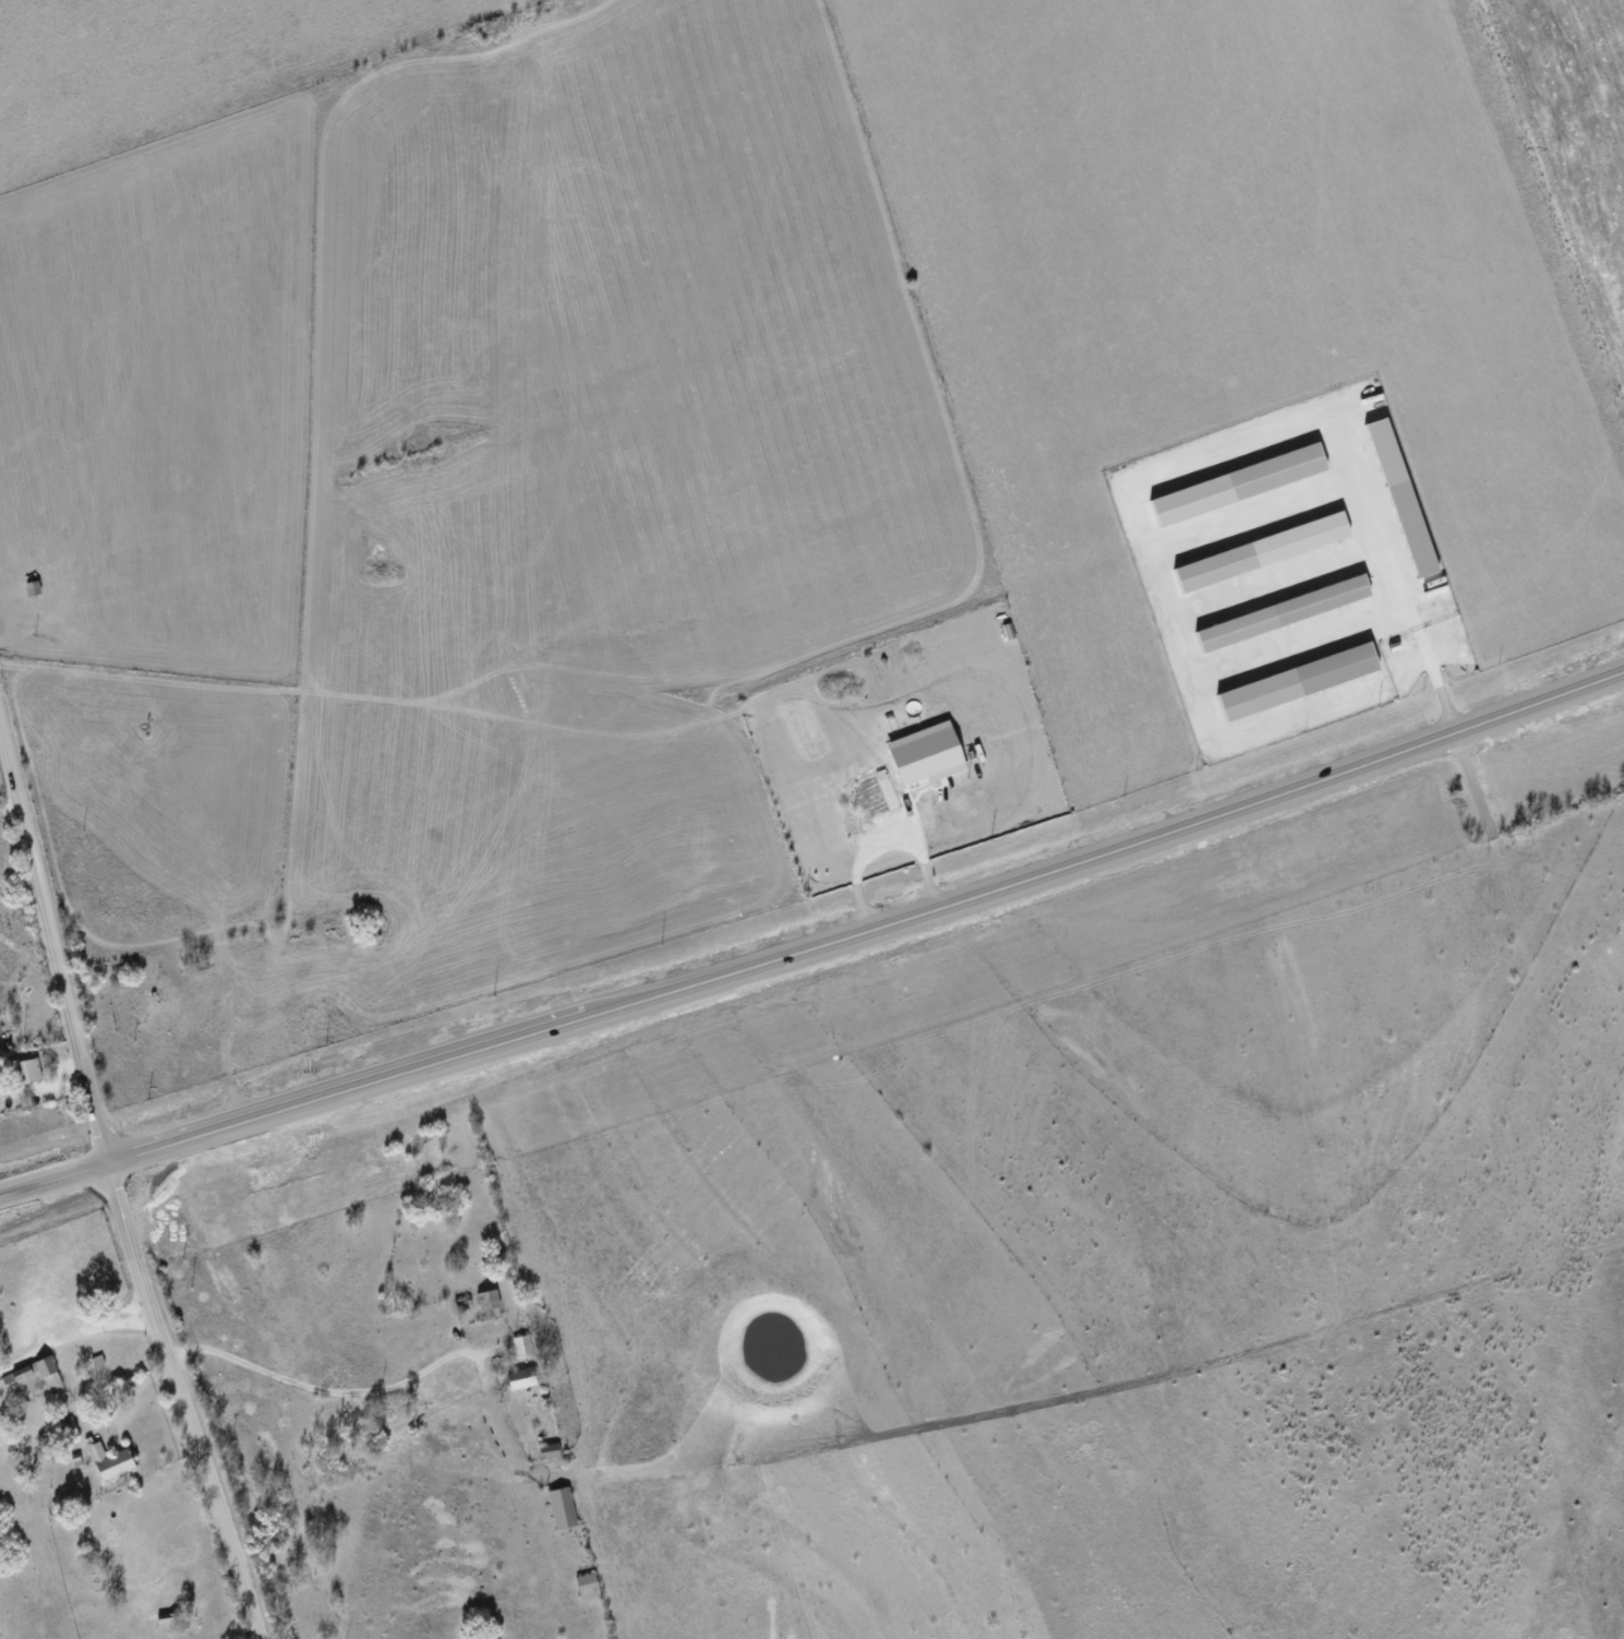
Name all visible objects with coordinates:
road: (1160, 468)
building: (1278, 470)
building: (1414, 527)
building: (1263, 550)
building: (1284, 612)
building: (1299, 681)
building: (928, 753)
building: (877, 793)
road: (882, 845)
road: (817, 941)
building: (28, 1069)
road: (111, 1187)
building: (488, 1299)
road: (73, 1336)
building: (521, 1344)
building: (31, 1377)
building: (521, 1378)
road: (318, 1389)
building: (549, 1450)
building: (110, 1460)
building: (562, 1507)
building: (173, 1620)

